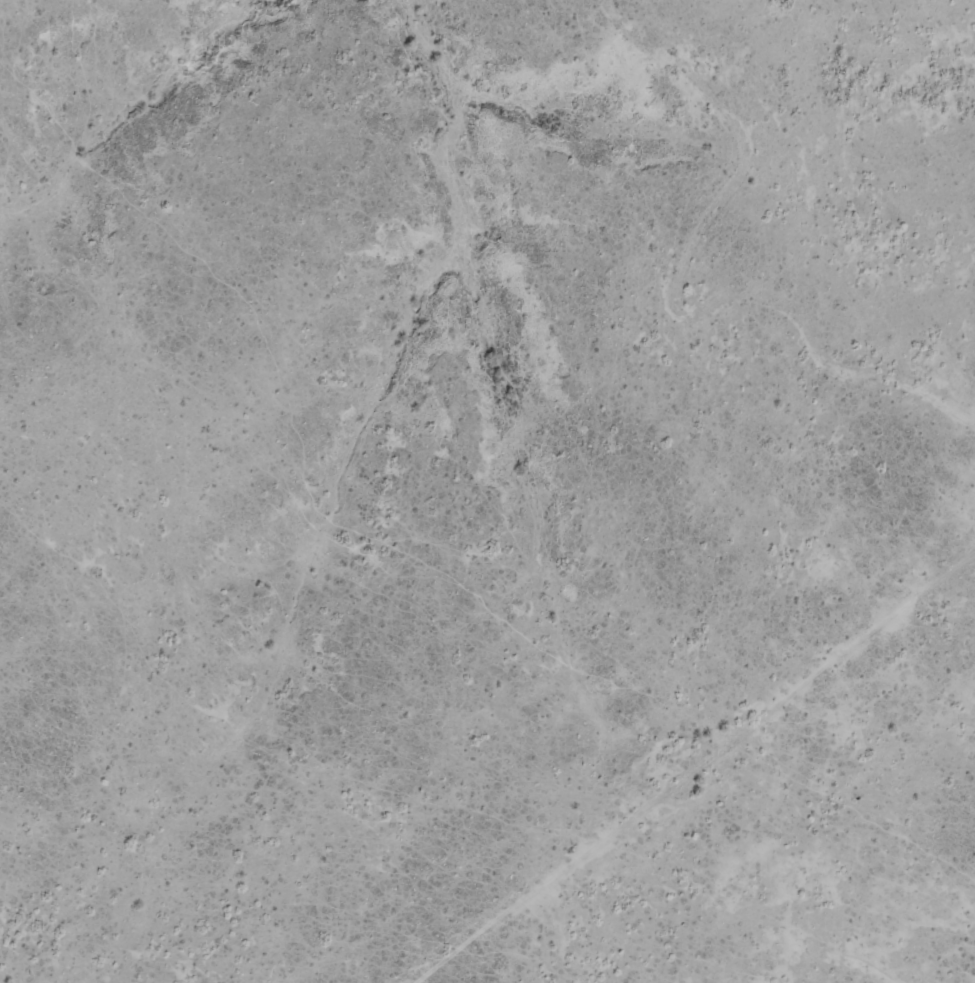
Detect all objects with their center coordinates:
road: (712, 781)

